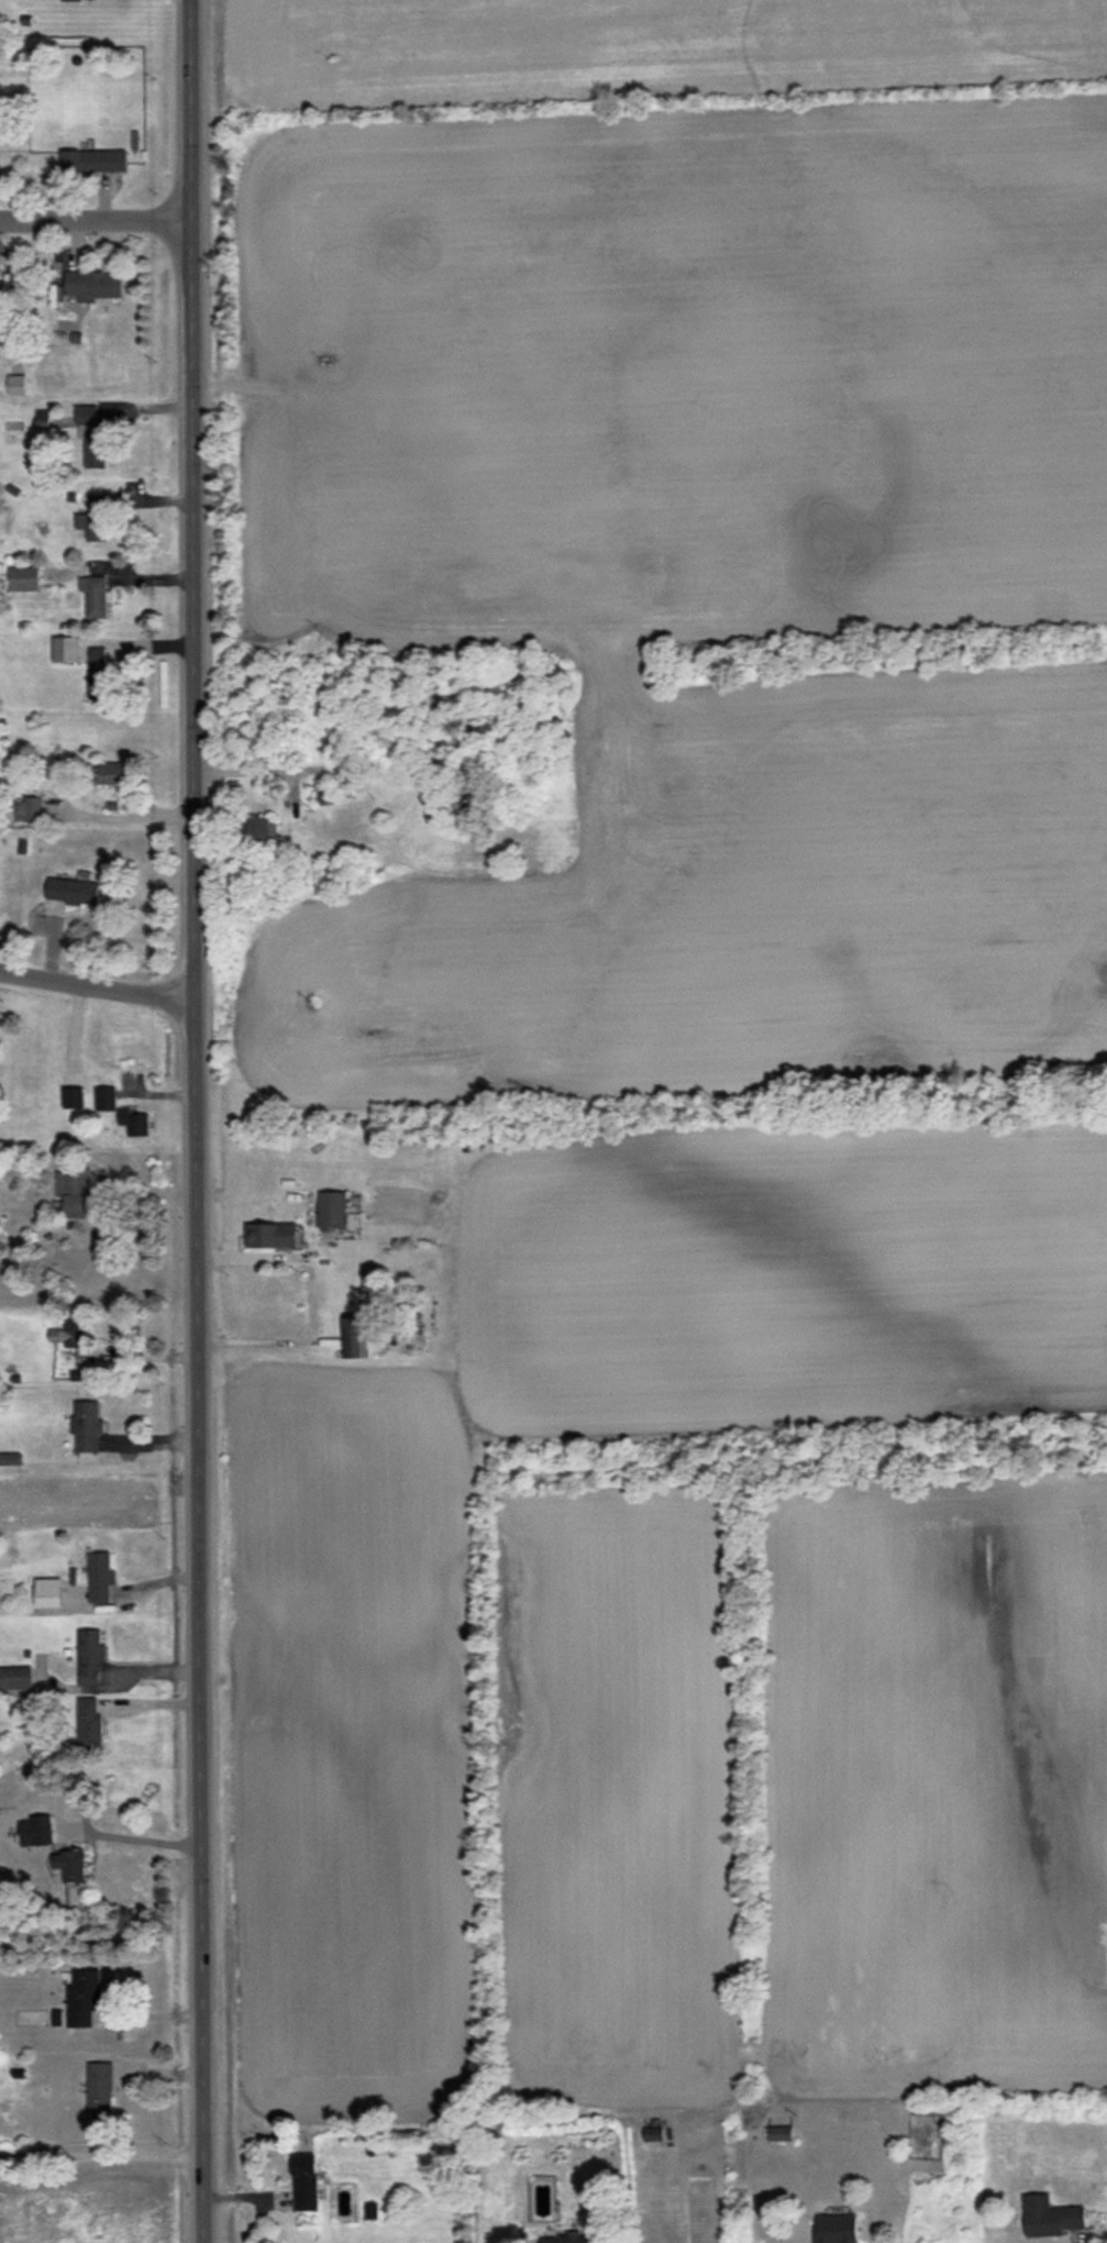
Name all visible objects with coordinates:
building: (71, 0)
building: (95, 162)
road: (93, 221)
building: (93, 284)
building: (91, 435)
building: (96, 518)
building: (24, 578)
building: (95, 596)
building: (65, 649)
building: (98, 674)
building: (114, 773)
building: (323, 793)
building: (29, 809)
building: (261, 829)
building: (73, 891)
road: (96, 987)
building: (0, 1043)
building: (74, 1097)
building: (106, 1098)
road: (193, 1120)
building: (135, 1123)
building: (75, 1192)
building: (270, 1235)
building: (71, 1333)
building: (357, 1337)
building: (78, 1374)
building: (87, 1425)
road: (150, 1450)
building: (10, 1458)
building: (100, 1577)
building: (48, 1592)
building: (89, 1658)
building: (15, 1677)
building: (89, 1723)
building: (36, 1831)
road: (132, 1845)
building: (70, 1865)
building: (84, 1997)
building: (100, 2089)
building: (653, 2133)
building: (781, 2133)
road: (100, 2163)
building: (305, 2181)
building: (1050, 2217)
building: (835, 2229)
building: (571, 2238)

